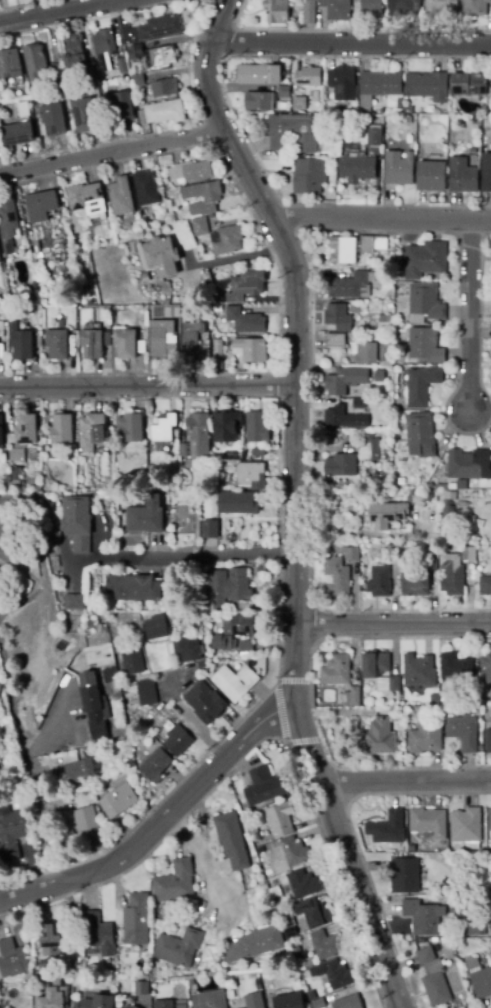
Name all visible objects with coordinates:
building: (439, 6)
building: (371, 7)
building: (405, 7)
building: (475, 7)
building: (337, 9)
building: (276, 11)
road: (62, 12)
building: (309, 12)
building: (151, 30)
road: (352, 43)
building: (104, 49)
building: (131, 52)
building: (73, 53)
building: (160, 57)
building: (34, 62)
building: (9, 63)
building: (122, 66)
building: (59, 72)
building: (90, 73)
building: (259, 75)
building: (308, 77)
building: (342, 77)
building: (137, 80)
building: (381, 83)
building: (469, 85)
building: (428, 86)
building: (163, 89)
building: (265, 98)
building: (120, 106)
building: (441, 107)
building: (297, 109)
building: (372, 109)
building: (23, 110)
building: (165, 112)
building: (391, 112)
building: (84, 116)
building: (53, 120)
building: (408, 120)
building: (430, 120)
building: (18, 134)
building: (290, 134)
building: (374, 137)
building: (472, 152)
road: (113, 154)
building: (355, 167)
building: (398, 168)
building: (191, 171)
building: (486, 173)
building: (308, 174)
building: (432, 176)
building: (462, 176)
building: (145, 188)
building: (211, 198)
building: (86, 199)
building: (121, 199)
building: (41, 205)
building: (8, 216)
road: (381, 218)
building: (198, 226)
building: (226, 240)
building: (372, 243)
building: (342, 250)
building: (159, 254)
road: (235, 257)
building: (424, 258)
building: (0, 261)
building: (145, 278)
building: (245, 284)
building: (347, 284)
building: (422, 302)
building: (215, 308)
road: (469, 314)
building: (336, 316)
building: (244, 319)
building: (62, 323)
building: (385, 323)
building: (1, 332)
building: (105, 338)
building: (161, 339)
building: (196, 340)
building: (334, 340)
building: (20, 342)
building: (57, 344)
building: (91, 344)
building: (125, 344)
building: (424, 345)
building: (141, 347)
building: (249, 349)
building: (363, 352)
building: (219, 354)
building: (386, 362)
building: (379, 376)
building: (343, 379)
road: (147, 386)
building: (422, 386)
building: (359, 403)
building: (344, 418)
building: (226, 426)
building: (130, 428)
building: (256, 428)
building: (1, 429)
building: (61, 429)
building: (164, 429)
building: (25, 430)
building: (91, 431)
building: (197, 432)
building: (421, 435)
building: (369, 448)
building: (258, 451)
building: (16, 455)
building: (214, 457)
building: (383, 458)
building: (467, 464)
building: (340, 465)
building: (404, 467)
building: (251, 476)
building: (13, 479)
building: (402, 480)
building: (430, 486)
building: (453, 486)
building: (34, 489)
building: (429, 497)
building: (414, 498)
road: (293, 500)
building: (236, 503)
building: (387, 515)
building: (146, 516)
building: (448, 517)
building: (77, 523)
building: (210, 529)
road: (36, 532)
road: (310, 536)
building: (428, 549)
building: (351, 554)
building: (469, 554)
building: (393, 555)
road: (183, 558)
building: (431, 565)
road: (23, 571)
building: (335, 575)
building: (452, 575)
building: (379, 582)
building: (415, 584)
building: (485, 586)
building: (132, 588)
building: (227, 588)
building: (75, 602)
building: (94, 625)
building: (240, 625)
road: (393, 626)
building: (156, 629)
building: (218, 643)
building: (246, 646)
building: (190, 650)
building: (98, 656)
building: (131, 663)
building: (375, 665)
building: (456, 666)
building: (486, 666)
building: (336, 670)
building: (419, 671)
building: (112, 674)
building: (235, 682)
building: (0, 684)
building: (394, 684)
building: (147, 693)
building: (355, 696)
road: (310, 697)
building: (433, 700)
building: (205, 701)
building: (93, 705)
road: (281, 712)
road: (188, 717)
building: (464, 732)
building: (3, 735)
building: (122, 735)
road: (29, 738)
building: (380, 738)
building: (424, 741)
building: (488, 741)
building: (178, 742)
building: (69, 749)
building: (155, 764)
building: (78, 769)
road: (404, 781)
building: (264, 787)
building: (94, 798)
building: (119, 801)
road: (152, 807)
road: (312, 812)
building: (490, 816)
building: (281, 819)
building: (86, 821)
building: (428, 822)
road: (161, 823)
road: (176, 825)
building: (466, 826)
building: (389, 828)
building: (254, 832)
building: (12, 834)
road: (354, 838)
building: (232, 840)
building: (411, 850)
building: (294, 852)
road: (205, 854)
building: (261, 855)
building: (487, 861)
building: (405, 875)
building: (175, 882)
building: (303, 884)
building: (248, 886)
road: (89, 887)
building: (275, 892)
building: (459, 904)
building: (279, 905)
building: (314, 913)
building: (422, 917)
building: (137, 920)
building: (475, 930)
building: (289, 934)
building: (98, 936)
building: (51, 941)
building: (255, 944)
building: (326, 945)
building: (178, 948)
building: (447, 950)
building: (297, 955)
building: (12, 959)
building: (309, 962)
building: (48, 964)
building: (335, 974)
building: (433, 978)
building: (190, 982)
building: (482, 983)
building: (142, 989)
building: (311, 995)
building: (53, 998)
building: (209, 1000)
building: (254, 1000)
building: (289, 1001)
building: (99, 1002)
building: (348, 1002)
building: (318, 1003)
building: (163, 1004)
building: (132, 1007)

